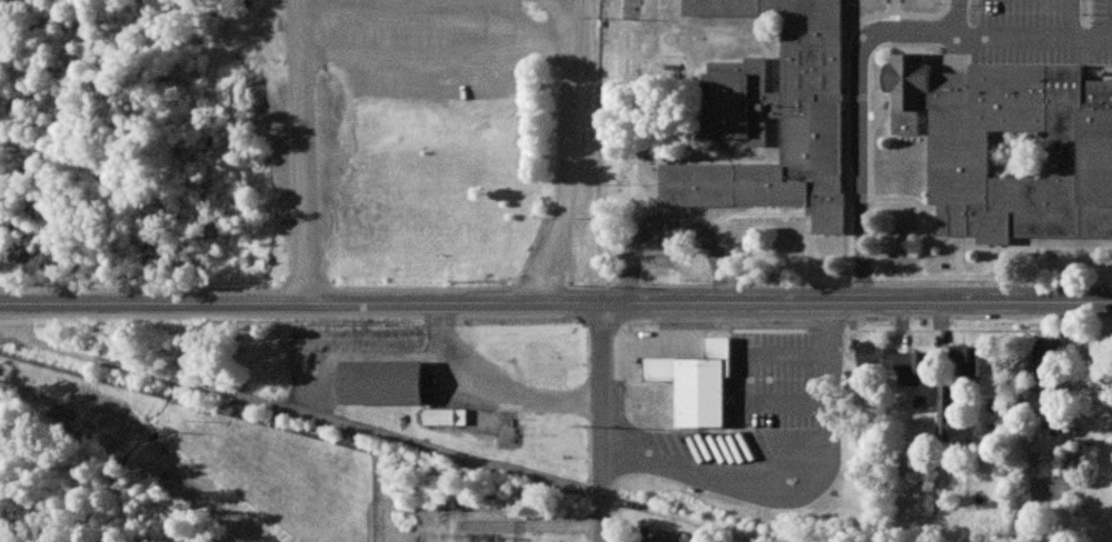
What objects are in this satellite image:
road: (986, 36)
road: (308, 39)
building: (773, 114)
building: (1011, 148)
road: (567, 152)
road: (862, 171)
road: (674, 221)
road: (556, 303)
building: (1046, 352)
building: (866, 353)
building: (964, 360)
building: (909, 369)
building: (695, 383)
building: (386, 384)
building: (444, 416)
road: (602, 422)
building: (1060, 429)
building: (1082, 445)
power substation: (486, 531)

